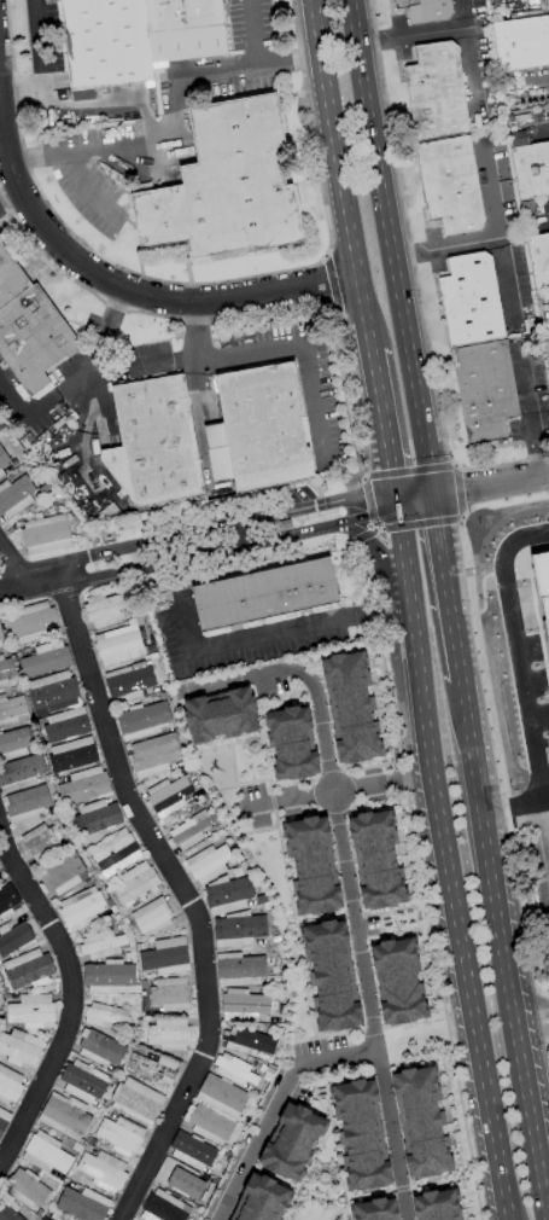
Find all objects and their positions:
building: (426, 10)
building: (185, 29)
road: (410, 30)
road: (251, 31)
building: (106, 42)
building: (521, 42)
road: (471, 57)
road: (287, 60)
road: (41, 65)
building: (436, 92)
road: (542, 130)
road: (107, 151)
road: (71, 161)
building: (531, 168)
road: (339, 176)
building: (226, 185)
building: (450, 185)
road: (10, 193)
road: (500, 238)
road: (445, 246)
road: (391, 249)
building: (539, 258)
building: (10, 278)
road: (142, 289)
building: (471, 300)
road: (198, 332)
building: (33, 337)
building: (547, 348)
road: (200, 362)
road: (87, 378)
road: (524, 385)
building: (484, 390)
road: (382, 428)
building: (258, 429)
building: (153, 442)
road: (535, 445)
building: (2, 460)
road: (409, 474)
road: (473, 488)
road: (459, 493)
building: (14, 496)
traffic signals: (433, 498)
traffic signals: (397, 501)
road: (368, 505)
road: (417, 523)
road: (198, 533)
building: (46, 534)
road: (362, 536)
road: (438, 542)
road: (376, 547)
road: (200, 554)
road: (14, 571)
building: (542, 582)
building: (264, 594)
road: (445, 598)
building: (106, 609)
building: (34, 622)
road: (410, 622)
road: (286, 631)
building: (1, 639)
road: (452, 644)
building: (119, 645)
building: (45, 658)
road: (518, 658)
building: (6, 670)
building: (128, 682)
building: (53, 691)
building: (349, 707)
road: (462, 708)
building: (12, 710)
building: (220, 714)
building: (141, 720)
building: (66, 725)
road: (255, 738)
building: (290, 742)
building: (16, 743)
road: (492, 743)
building: (72, 755)
building: (154, 755)
building: (21, 773)
building: (84, 786)
road: (338, 790)
building: (168, 796)
road: (271, 802)
building: (27, 803)
road: (548, 813)
road: (520, 818)
building: (94, 819)
building: (188, 833)
building: (43, 841)
building: (113, 852)
road: (419, 853)
building: (375, 859)
building: (208, 864)
building: (310, 864)
building: (62, 875)
building: (136, 885)
road: (350, 887)
road: (183, 891)
building: (228, 894)
building: (7, 900)
building: (81, 908)
building: (152, 916)
road: (293, 924)
building: (239, 929)
building: (14, 939)
building: (101, 946)
building: (165, 957)
building: (28, 969)
building: (239, 969)
road: (508, 970)
building: (329, 975)
building: (110, 977)
building: (397, 981)
road: (466, 981)
road: (72, 994)
building: (170, 994)
building: (243, 1005)
road: (532, 1007)
building: (31, 1011)
building: (106, 1017)
road: (414, 1023)
road: (533, 1028)
road: (373, 1029)
building: (169, 1034)
road: (328, 1035)
building: (247, 1041)
building: (21, 1048)
building: (100, 1048)
building: (156, 1068)
building: (234, 1070)
road: (329, 1079)
building: (83, 1081)
building: (10, 1086)
building: (222, 1096)
building: (136, 1100)
road: (276, 1104)
building: (65, 1116)
building: (4, 1120)
building: (420, 1121)
building: (210, 1123)
road: (328, 1128)
building: (358, 1134)
building: (121, 1135)
building: (291, 1141)
building: (192, 1151)
building: (46, 1154)
building: (103, 1170)
building: (179, 1178)
building: (27, 1189)
building: (259, 1199)
building: (83, 1204)
building: (436, 1204)
building: (163, 1207)
road: (479, 1207)
building: (8, 1209)
building: (373, 1209)
building: (57, 1218)

